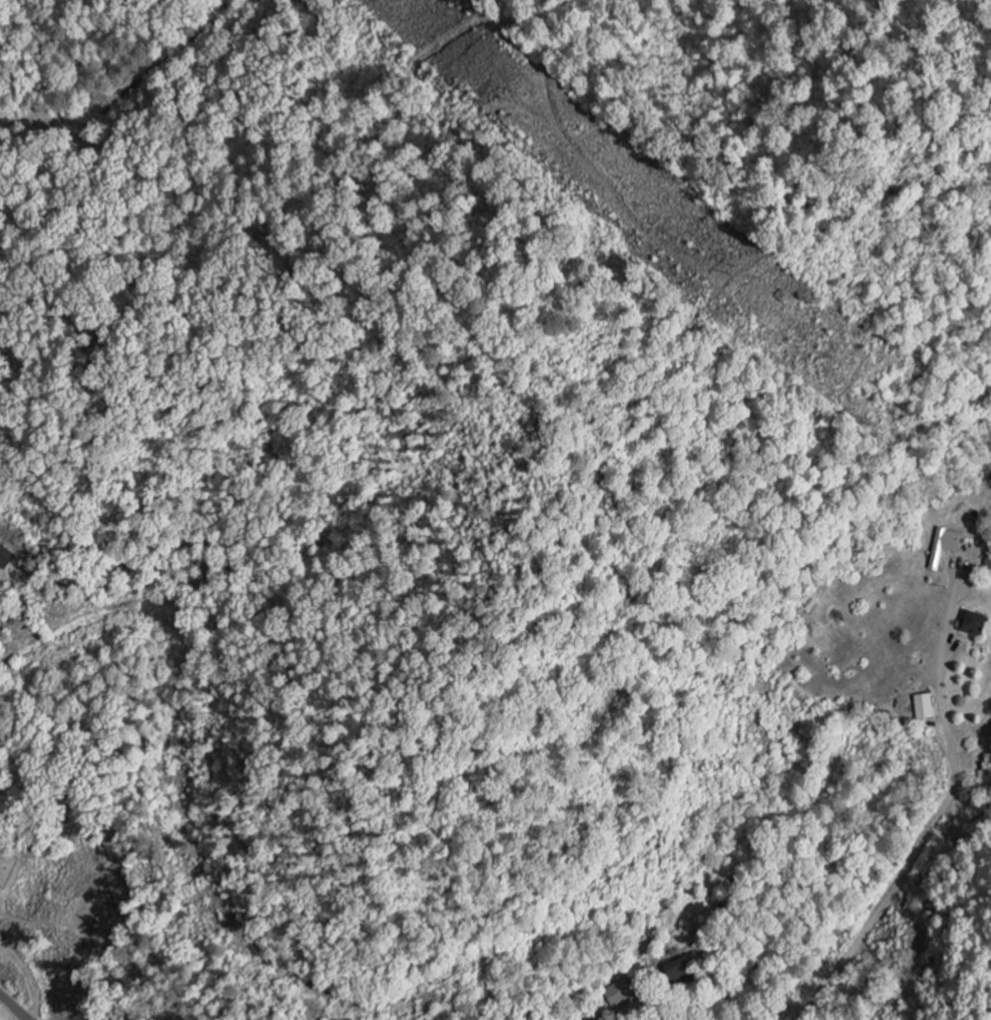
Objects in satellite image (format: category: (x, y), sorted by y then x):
power tower: (513, 99)
building: (940, 549)
building: (7, 557)
building: (968, 624)
building: (921, 708)
building: (678, 971)
road: (27, 974)
road: (14, 1007)

